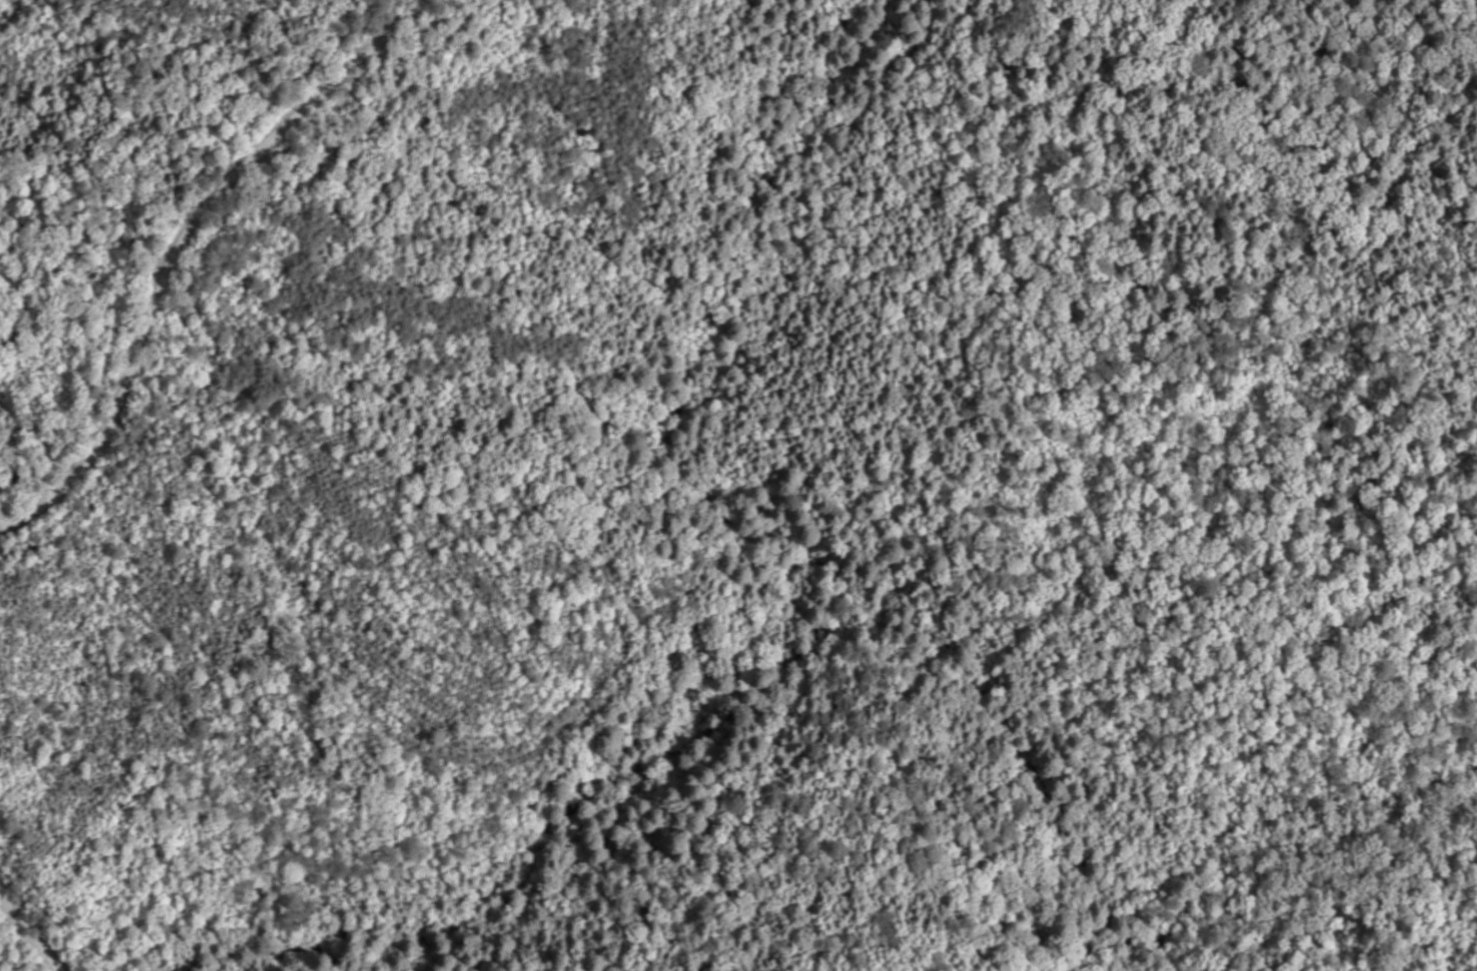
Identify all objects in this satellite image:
road: (182, 256)
road: (27, 932)

